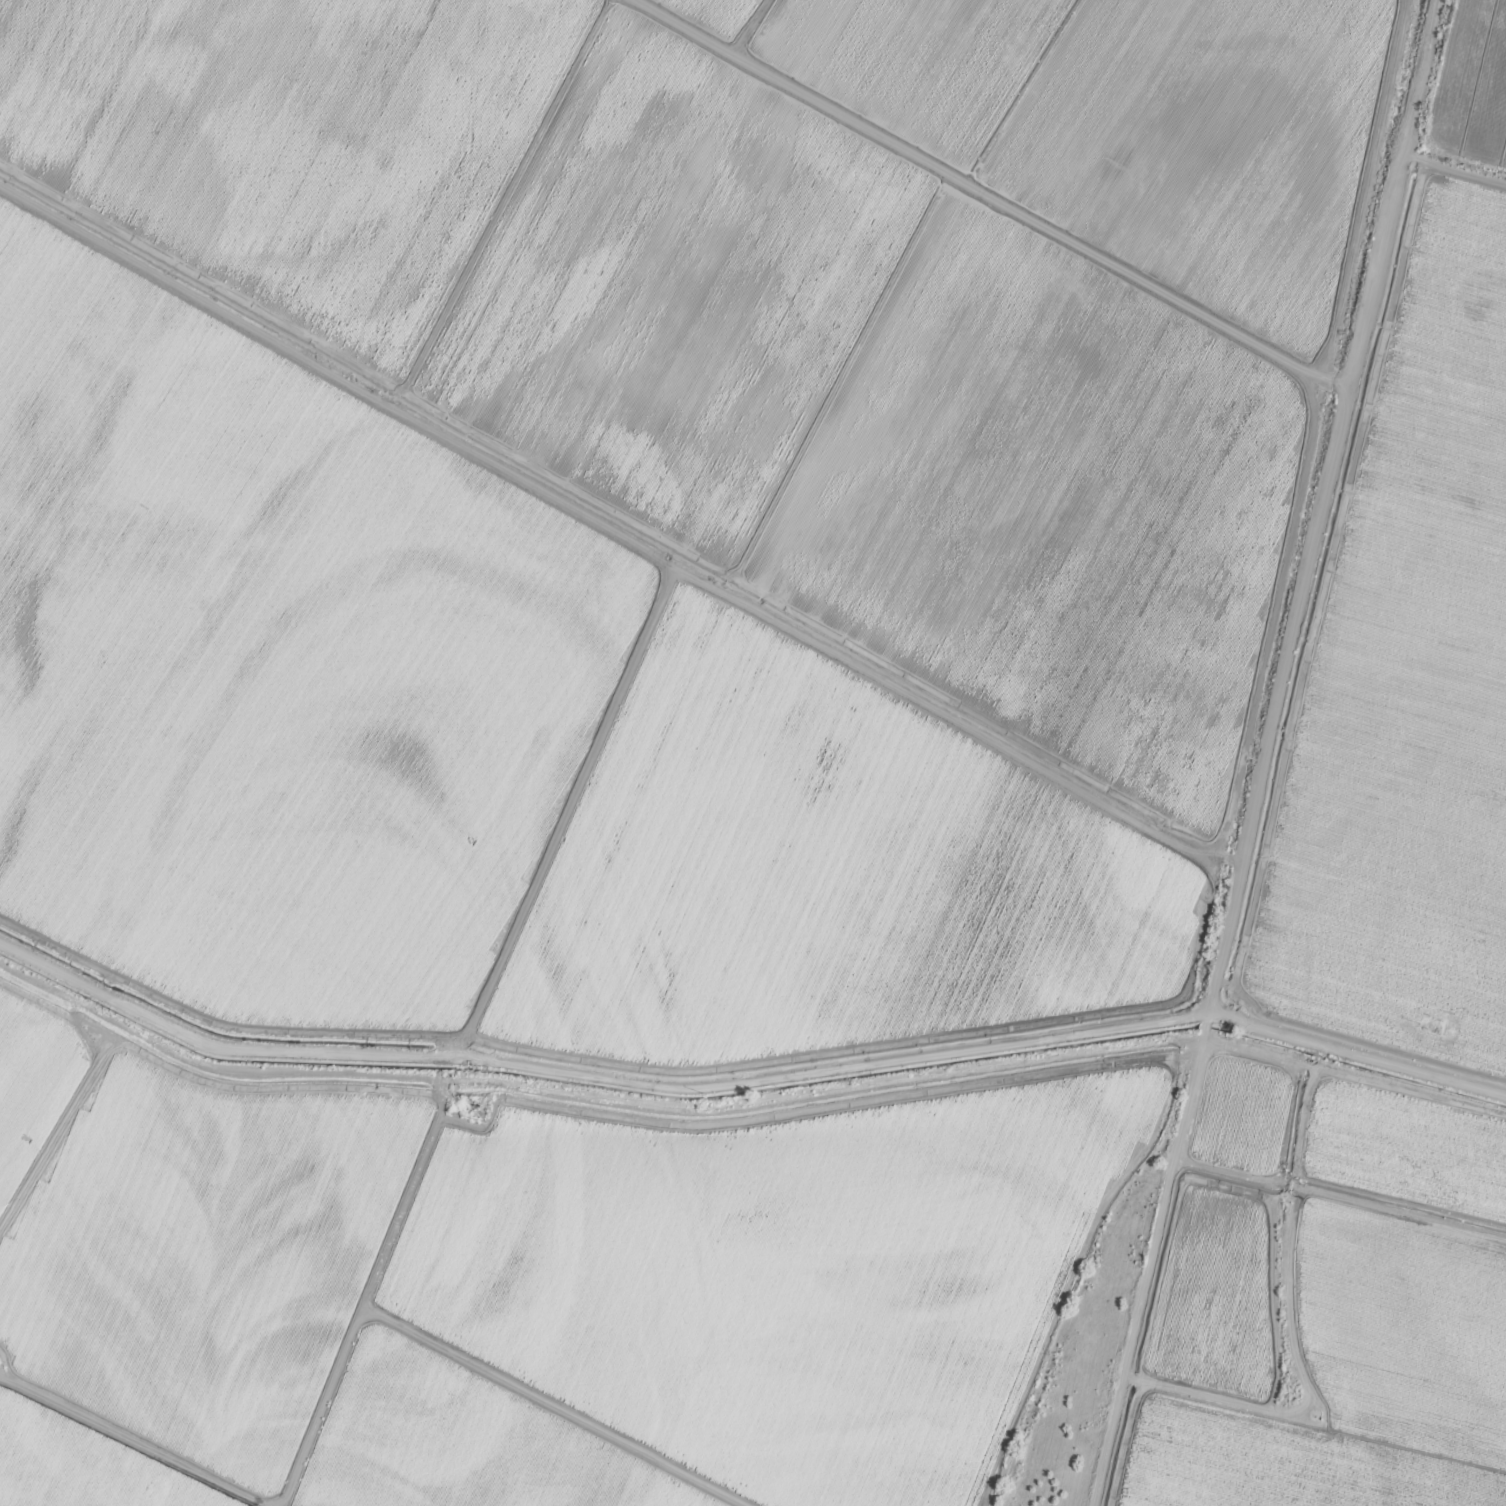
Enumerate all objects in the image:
crop: (1327, 1306)

